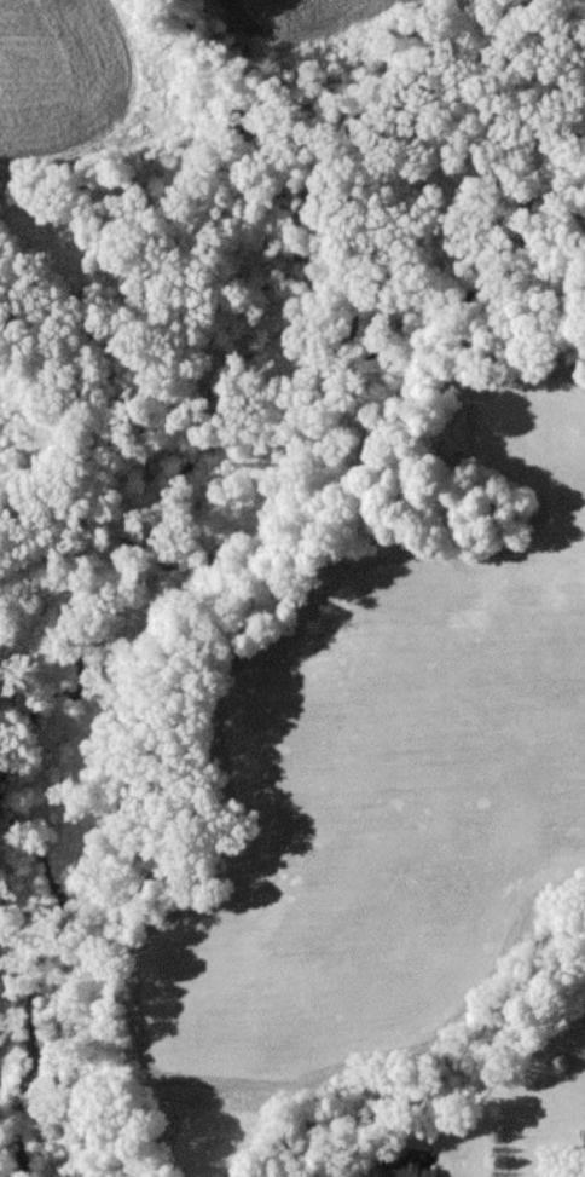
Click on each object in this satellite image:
building: (406, 1166)

